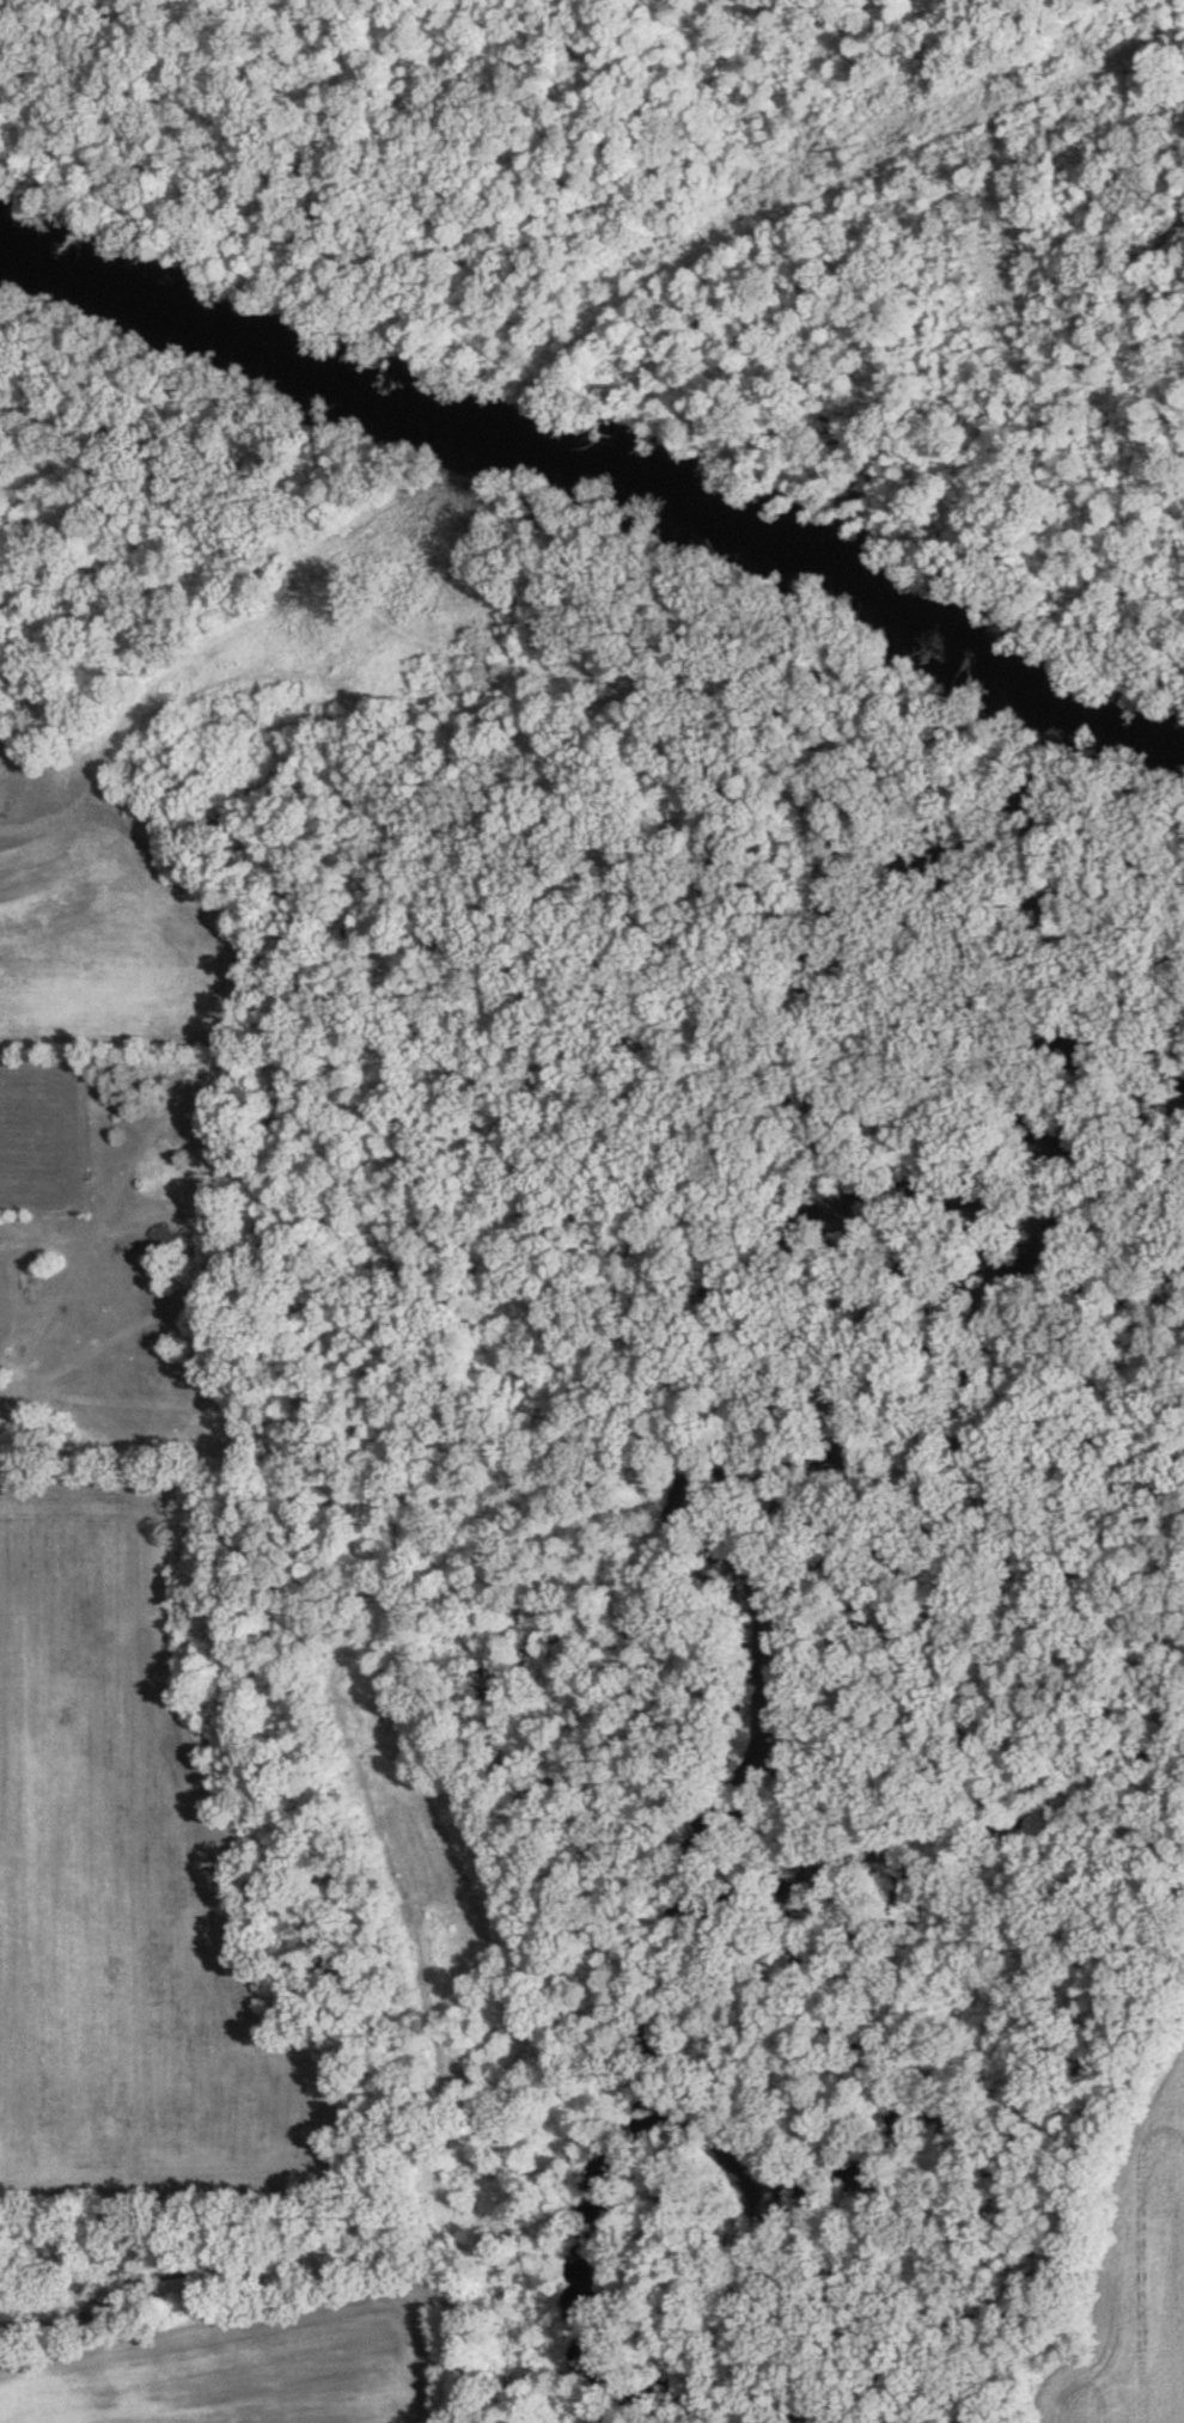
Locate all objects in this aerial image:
river: (606, 463)

